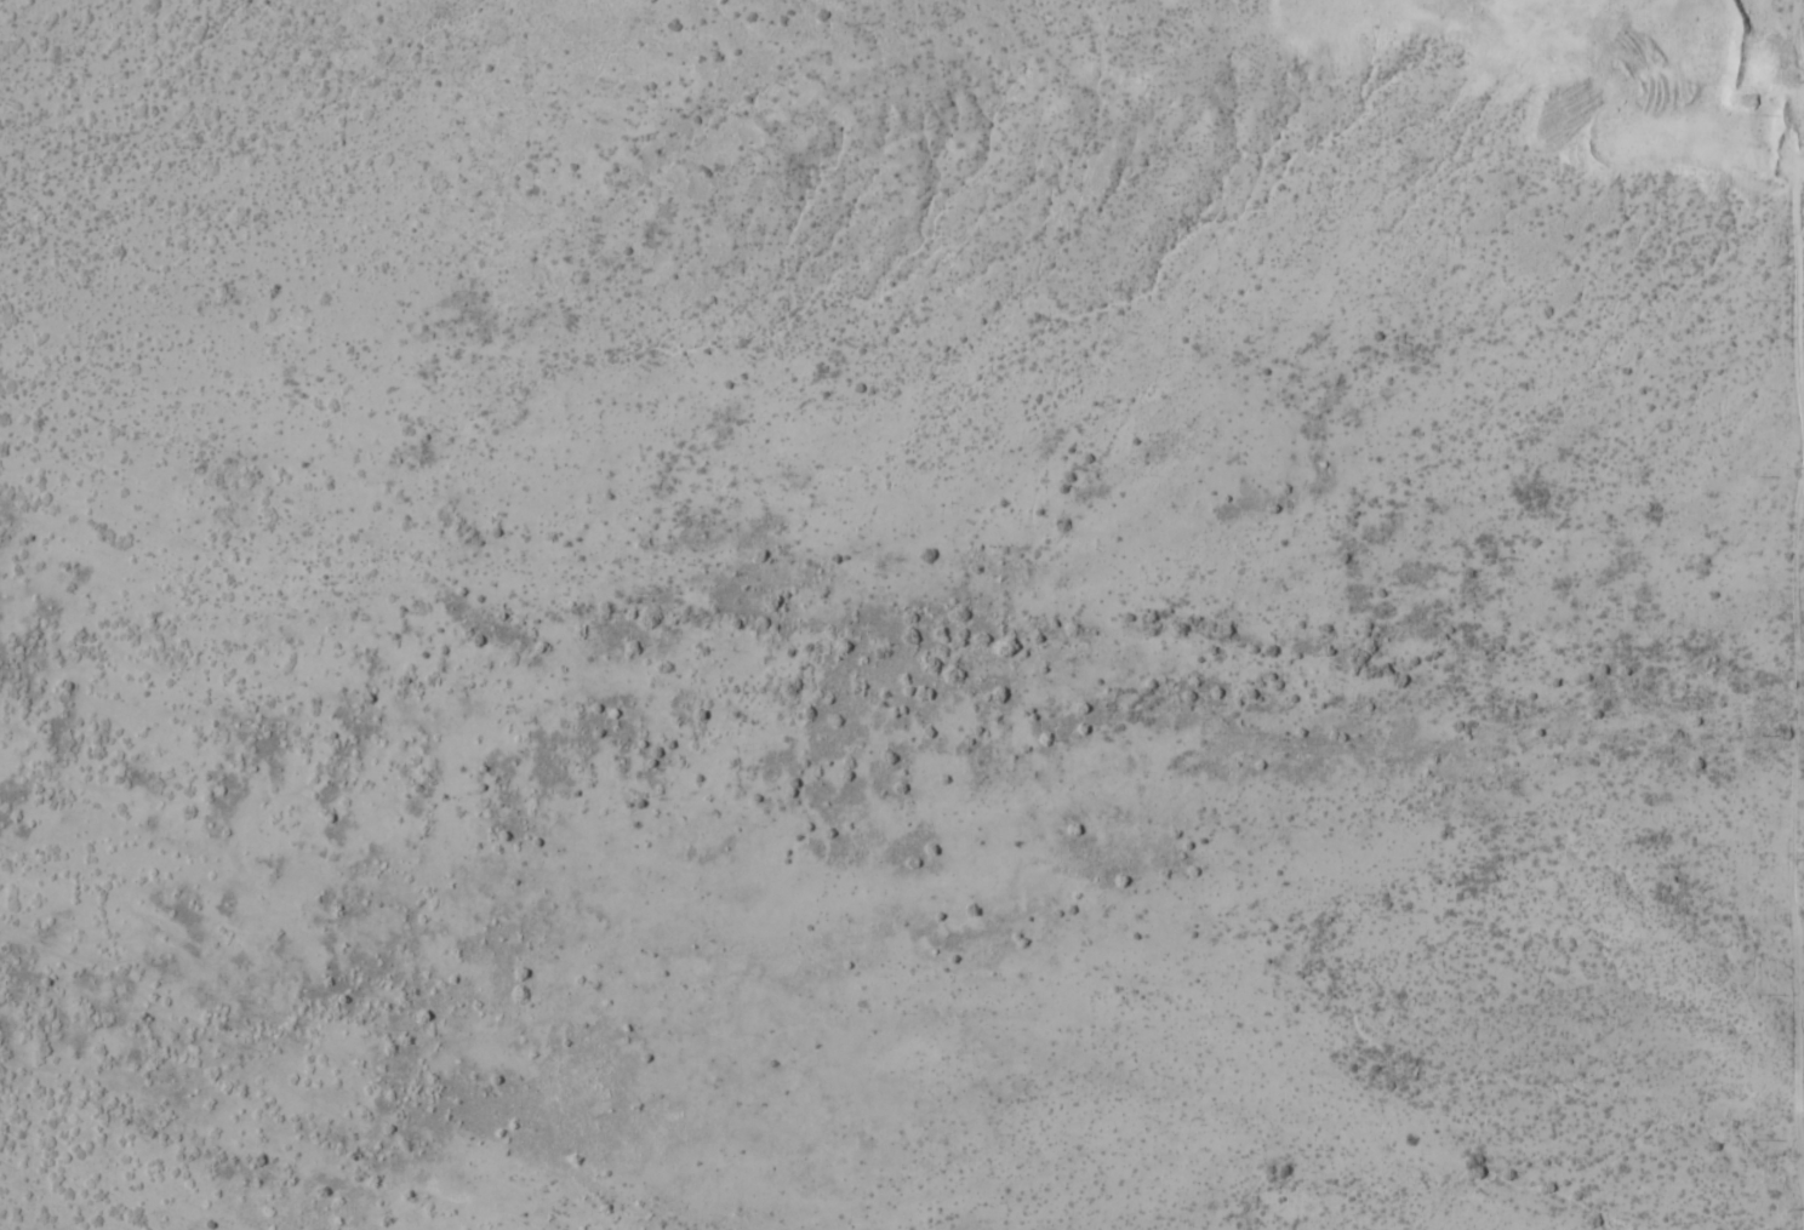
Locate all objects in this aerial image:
road: (1684, 35)
power tower: (1787, 81)
power tower: (1797, 468)
power tower: (1796, 860)
power tower: (1799, 1206)

